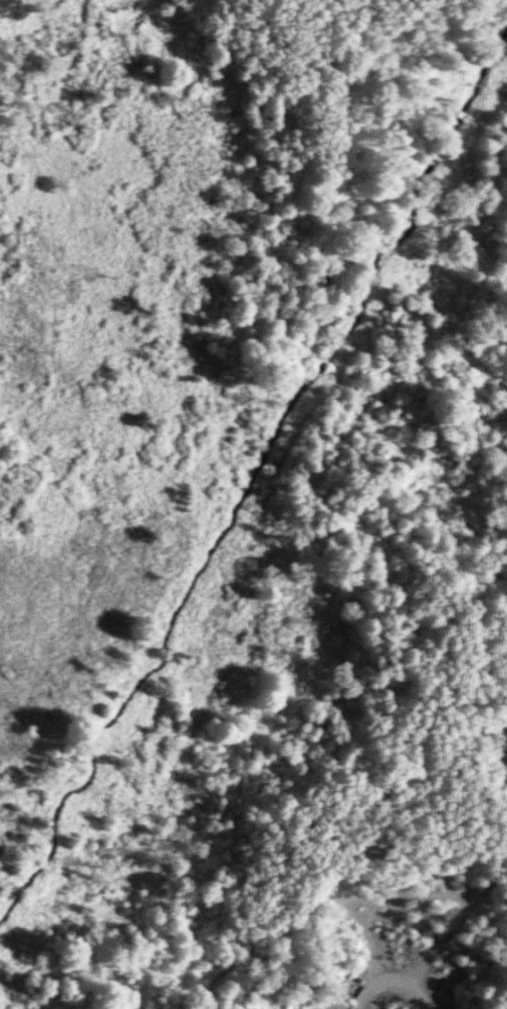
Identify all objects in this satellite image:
road: (391, 982)

